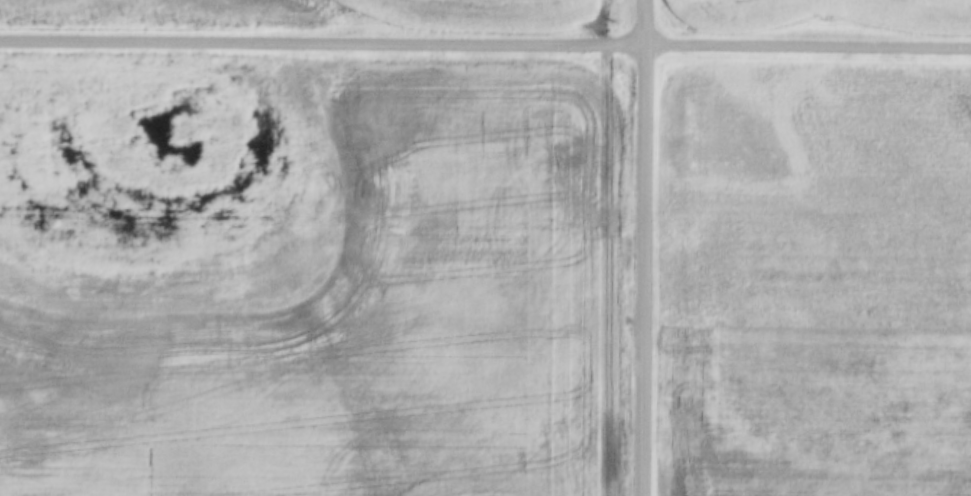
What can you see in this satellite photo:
road: (485, 46)
road: (647, 247)

